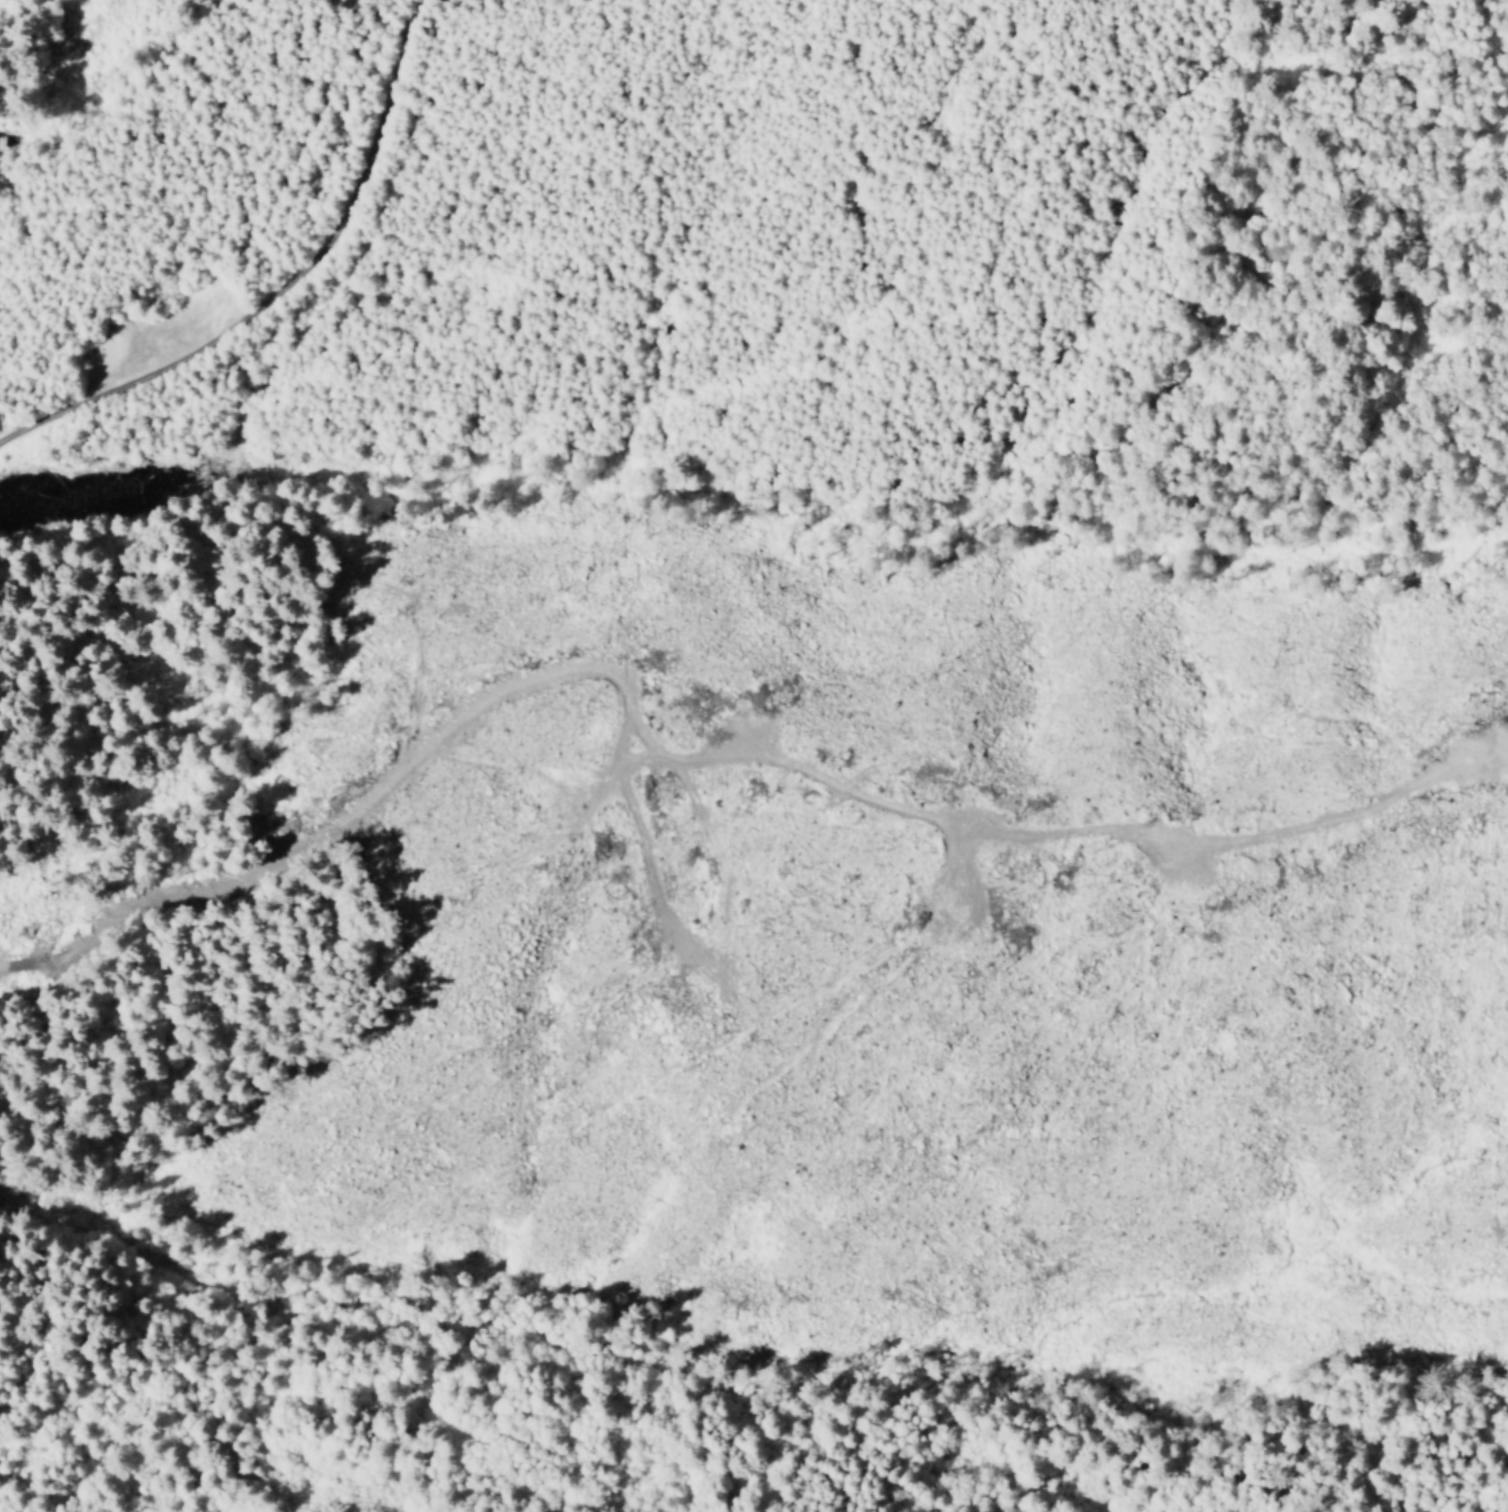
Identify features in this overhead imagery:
road: (285, 285)

